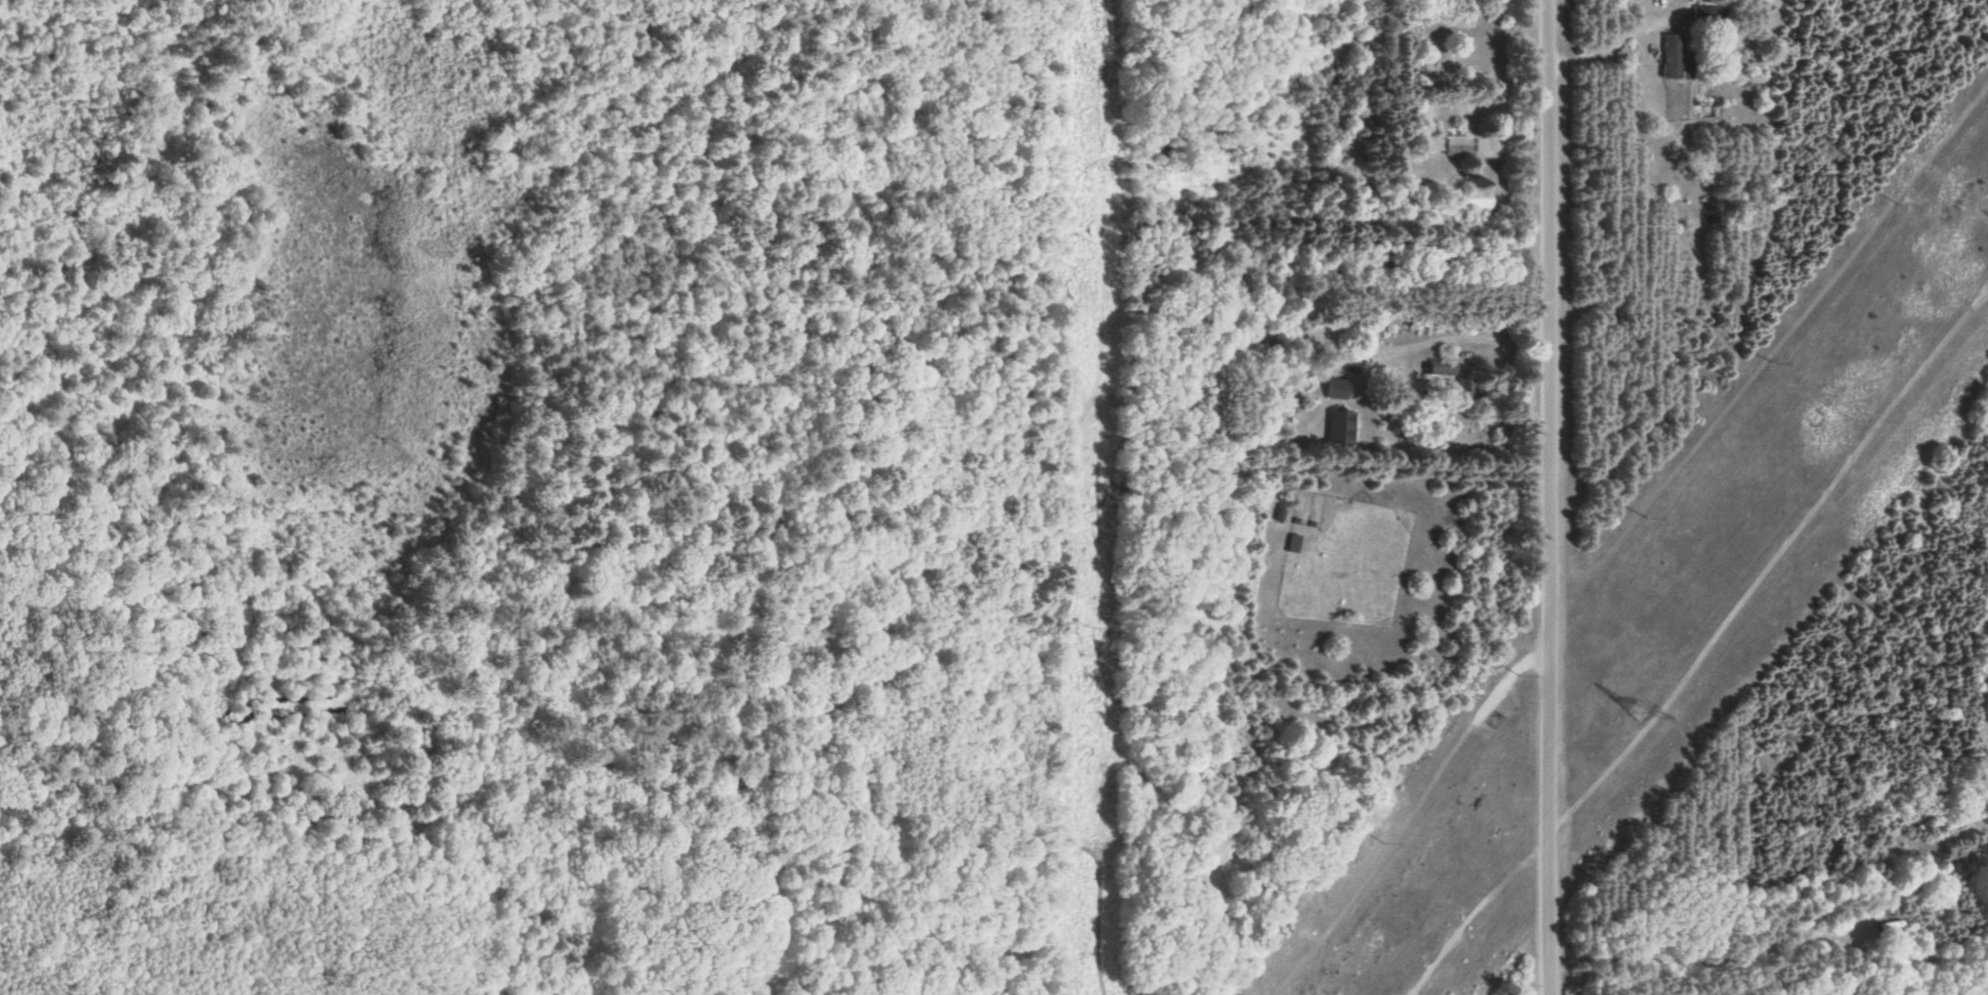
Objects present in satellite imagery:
building: (1674, 58)
building: (1453, 146)
building: (1474, 200)
building: (1441, 367)
building: (1339, 392)
road: (1543, 497)
power tower: (1638, 707)
building: (1890, 926)

